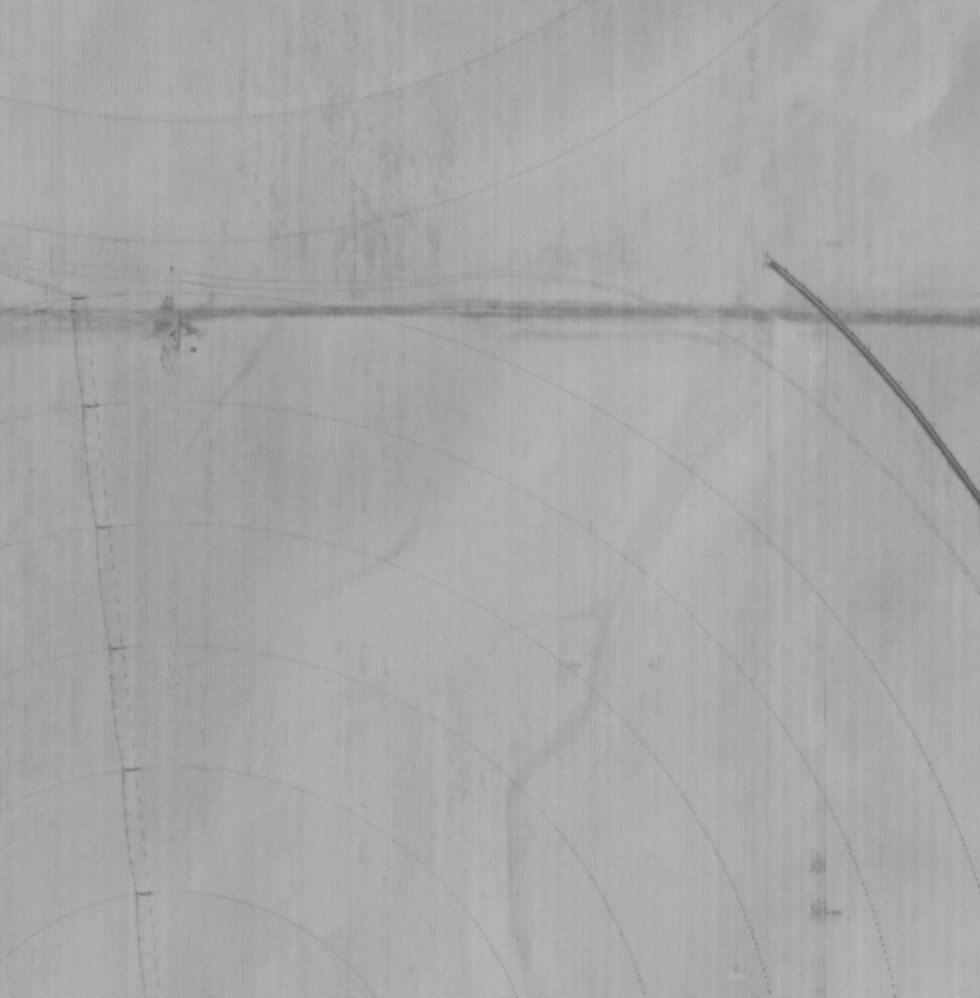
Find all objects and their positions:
crop: (489, 151)
road: (490, 313)
crop: (490, 659)

